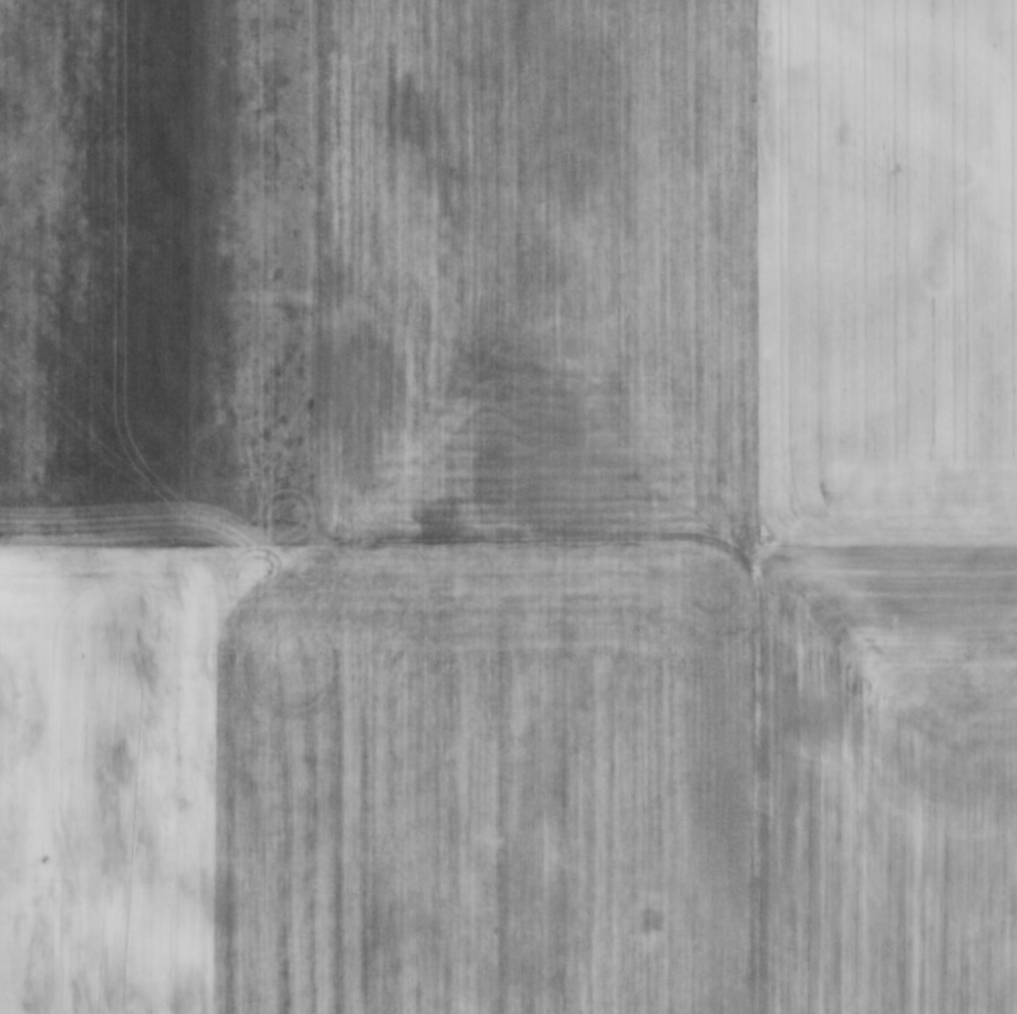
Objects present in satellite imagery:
road: (882, 529)
road: (766, 723)

